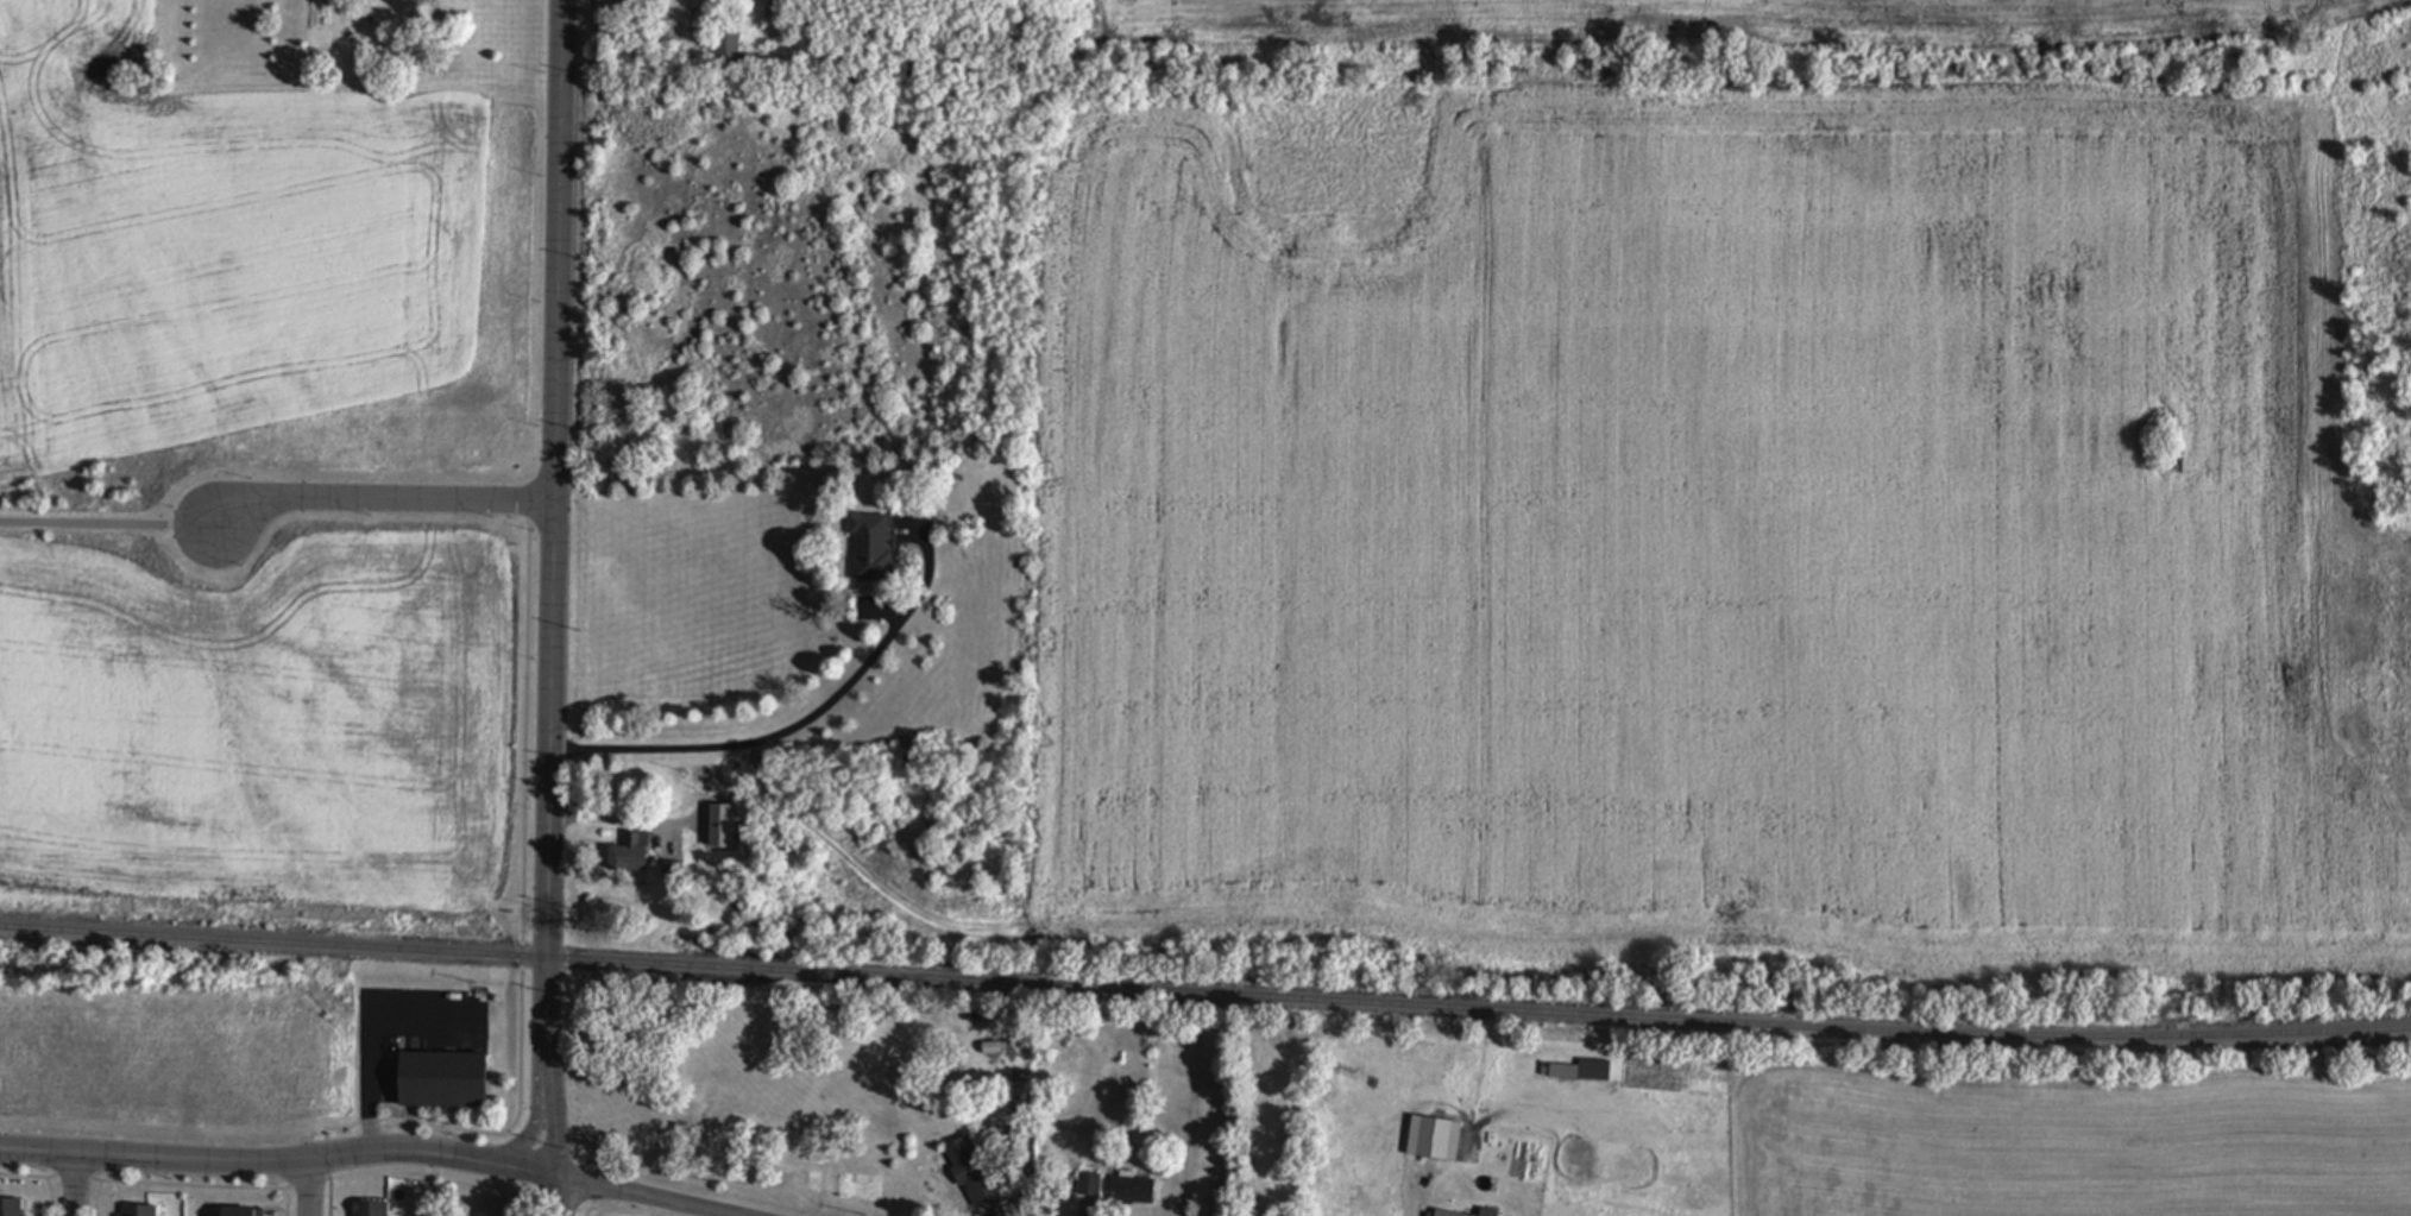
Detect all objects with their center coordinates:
building: (728, 46)
road: (383, 503)
road: (553, 510)
road: (109, 525)
park: (88, 527)
building: (871, 549)
road: (797, 724)
building: (631, 856)
building: (717, 857)
railway: (1204, 995)
building: (1581, 1072)
building: (445, 1082)
road: (554, 1098)
road: (540, 1101)
building: (1435, 1140)
road: (248, 1165)
road: (528, 1170)
building: (972, 1174)
road: (75, 1186)
building: (1089, 1187)
road: (307, 1189)
building: (1133, 1192)
road: (561, 1196)
road: (653, 1196)
building: (12, 1208)
building: (371, 1209)
building: (137, 1210)
building: (244, 1212)
building: (1443, 1214)
building: (1488, 1214)

